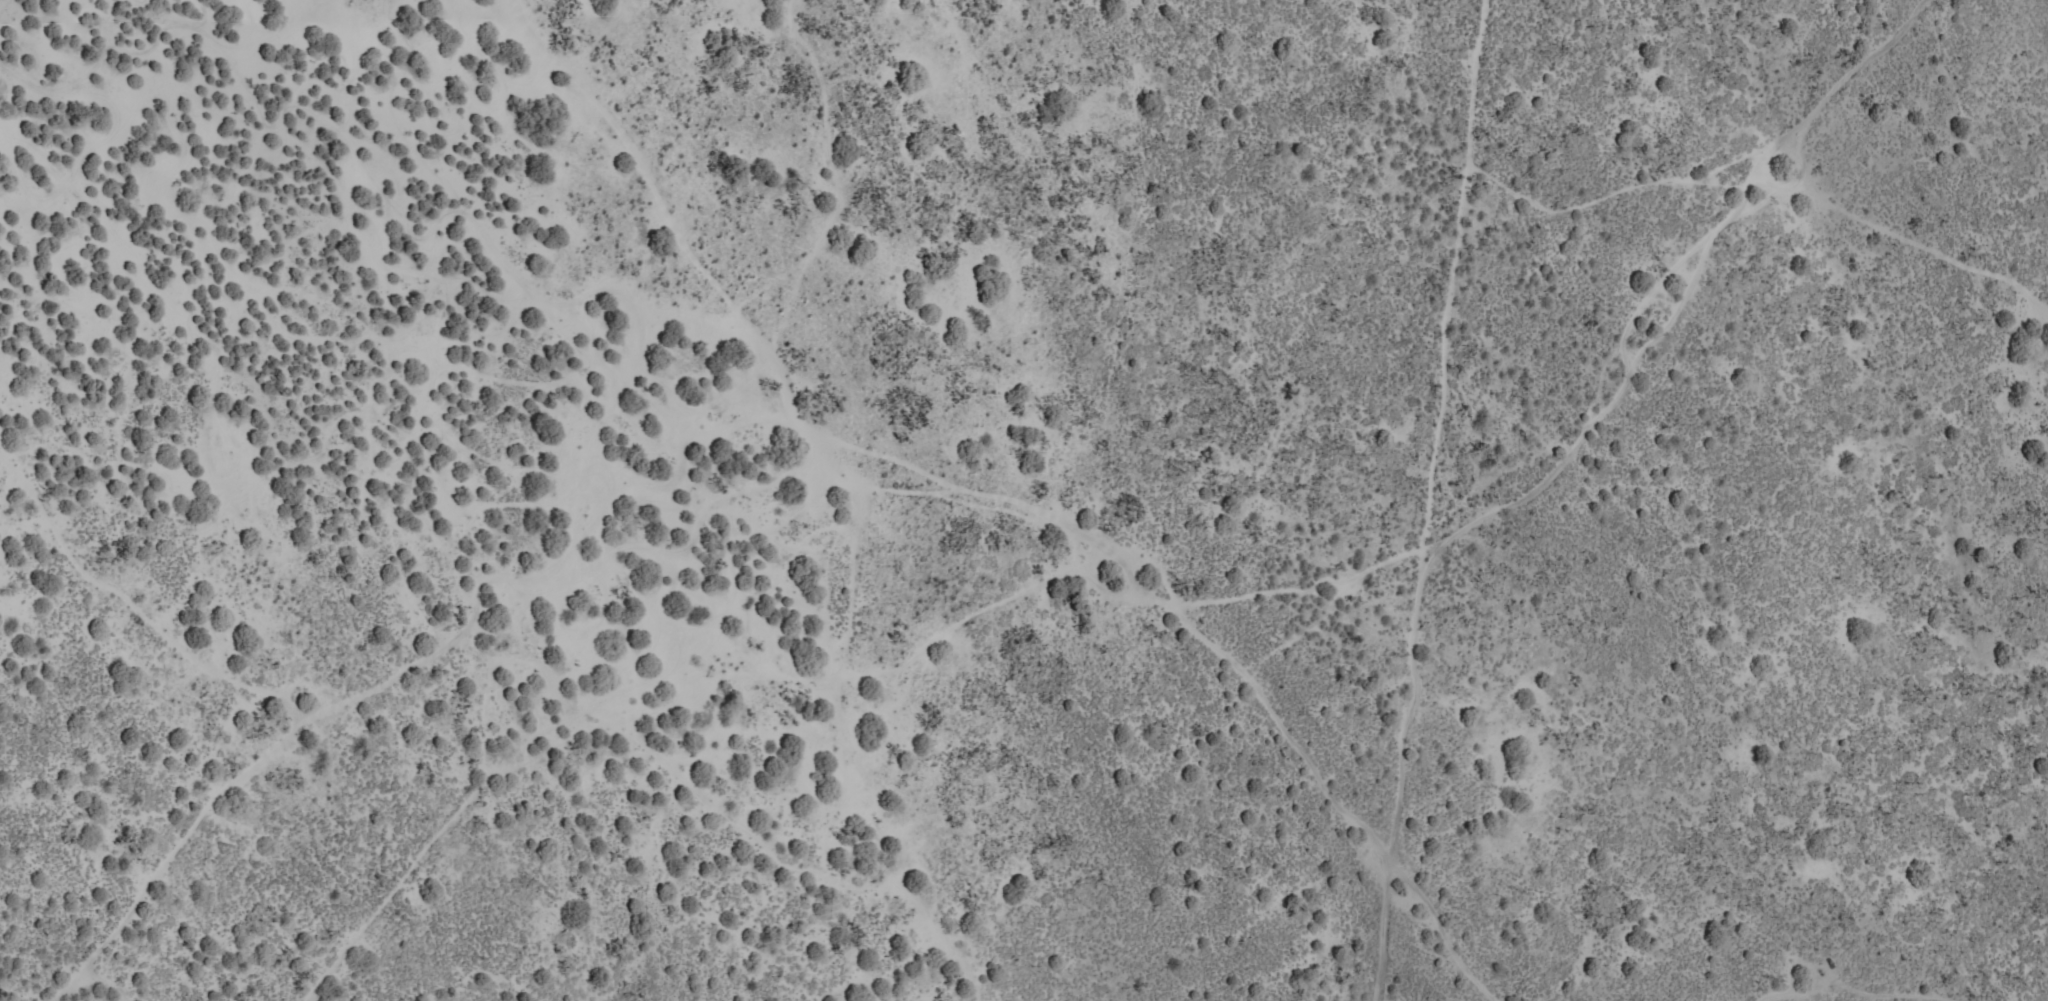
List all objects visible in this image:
road: (1400, 782)

